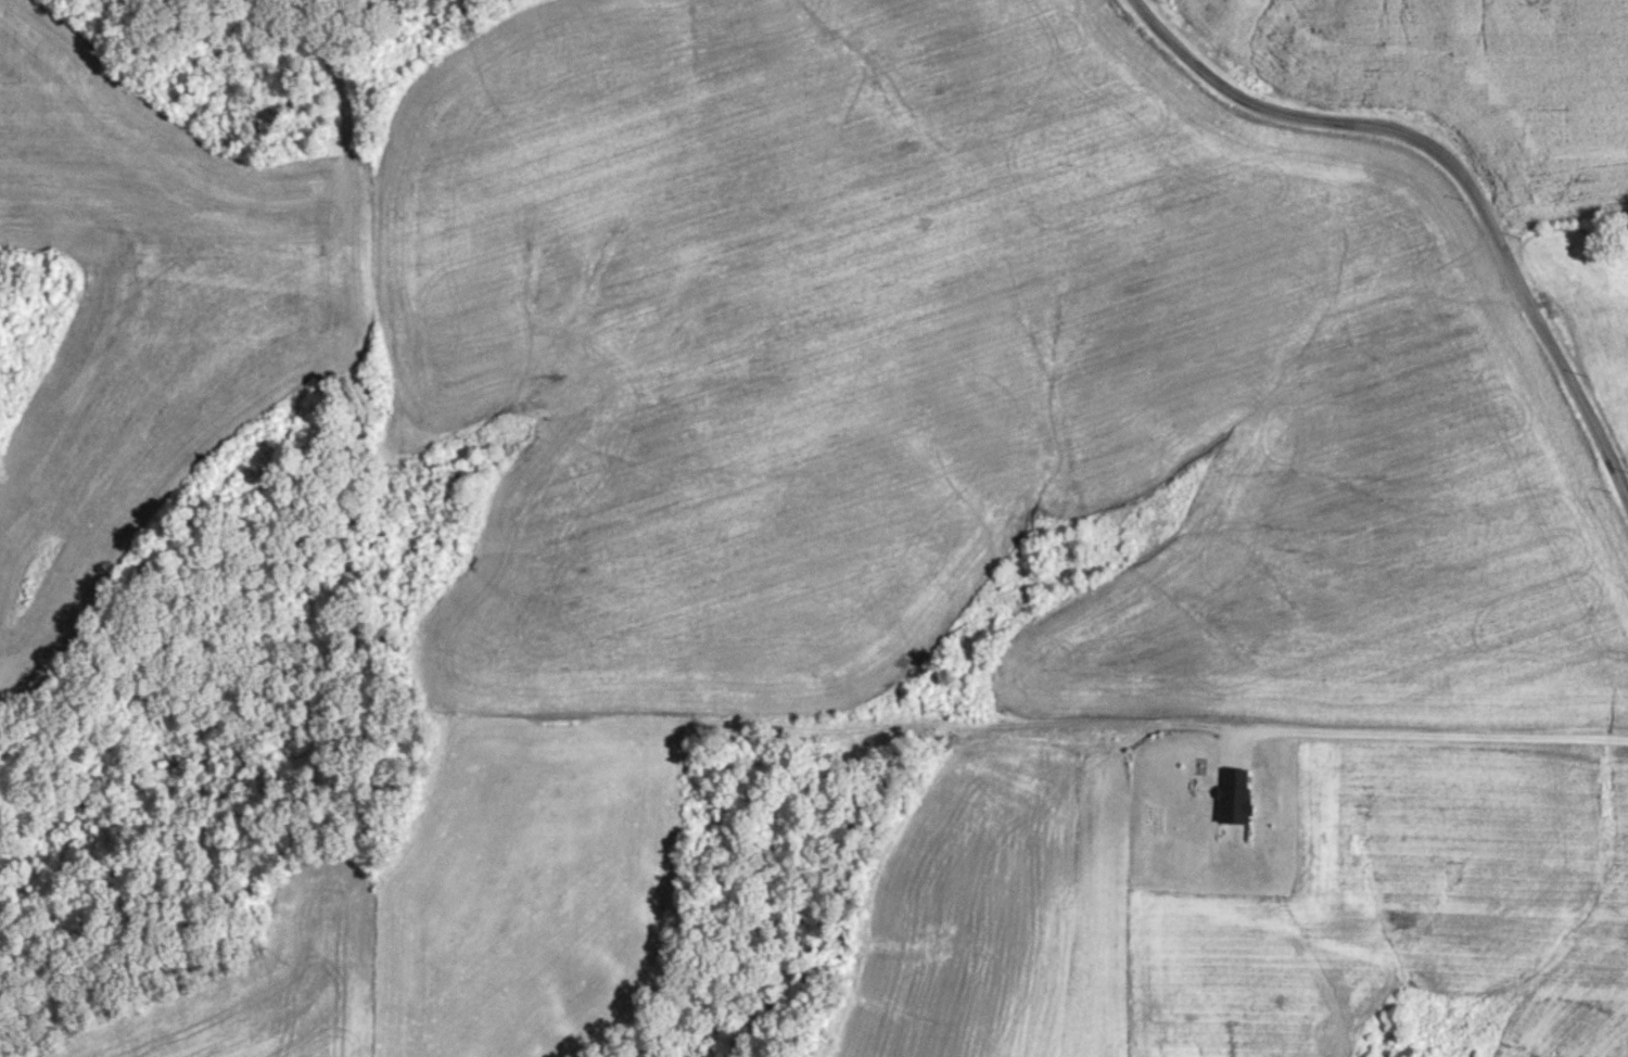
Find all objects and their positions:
road: (1455, 163)
road: (1435, 735)

